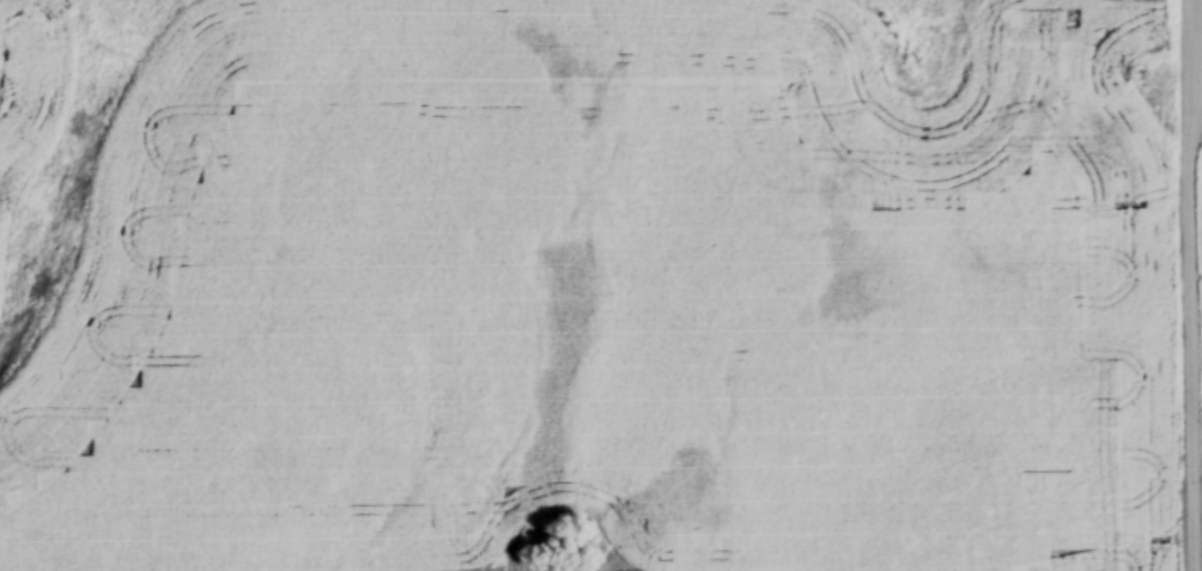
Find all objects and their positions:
road: (1185, 285)

